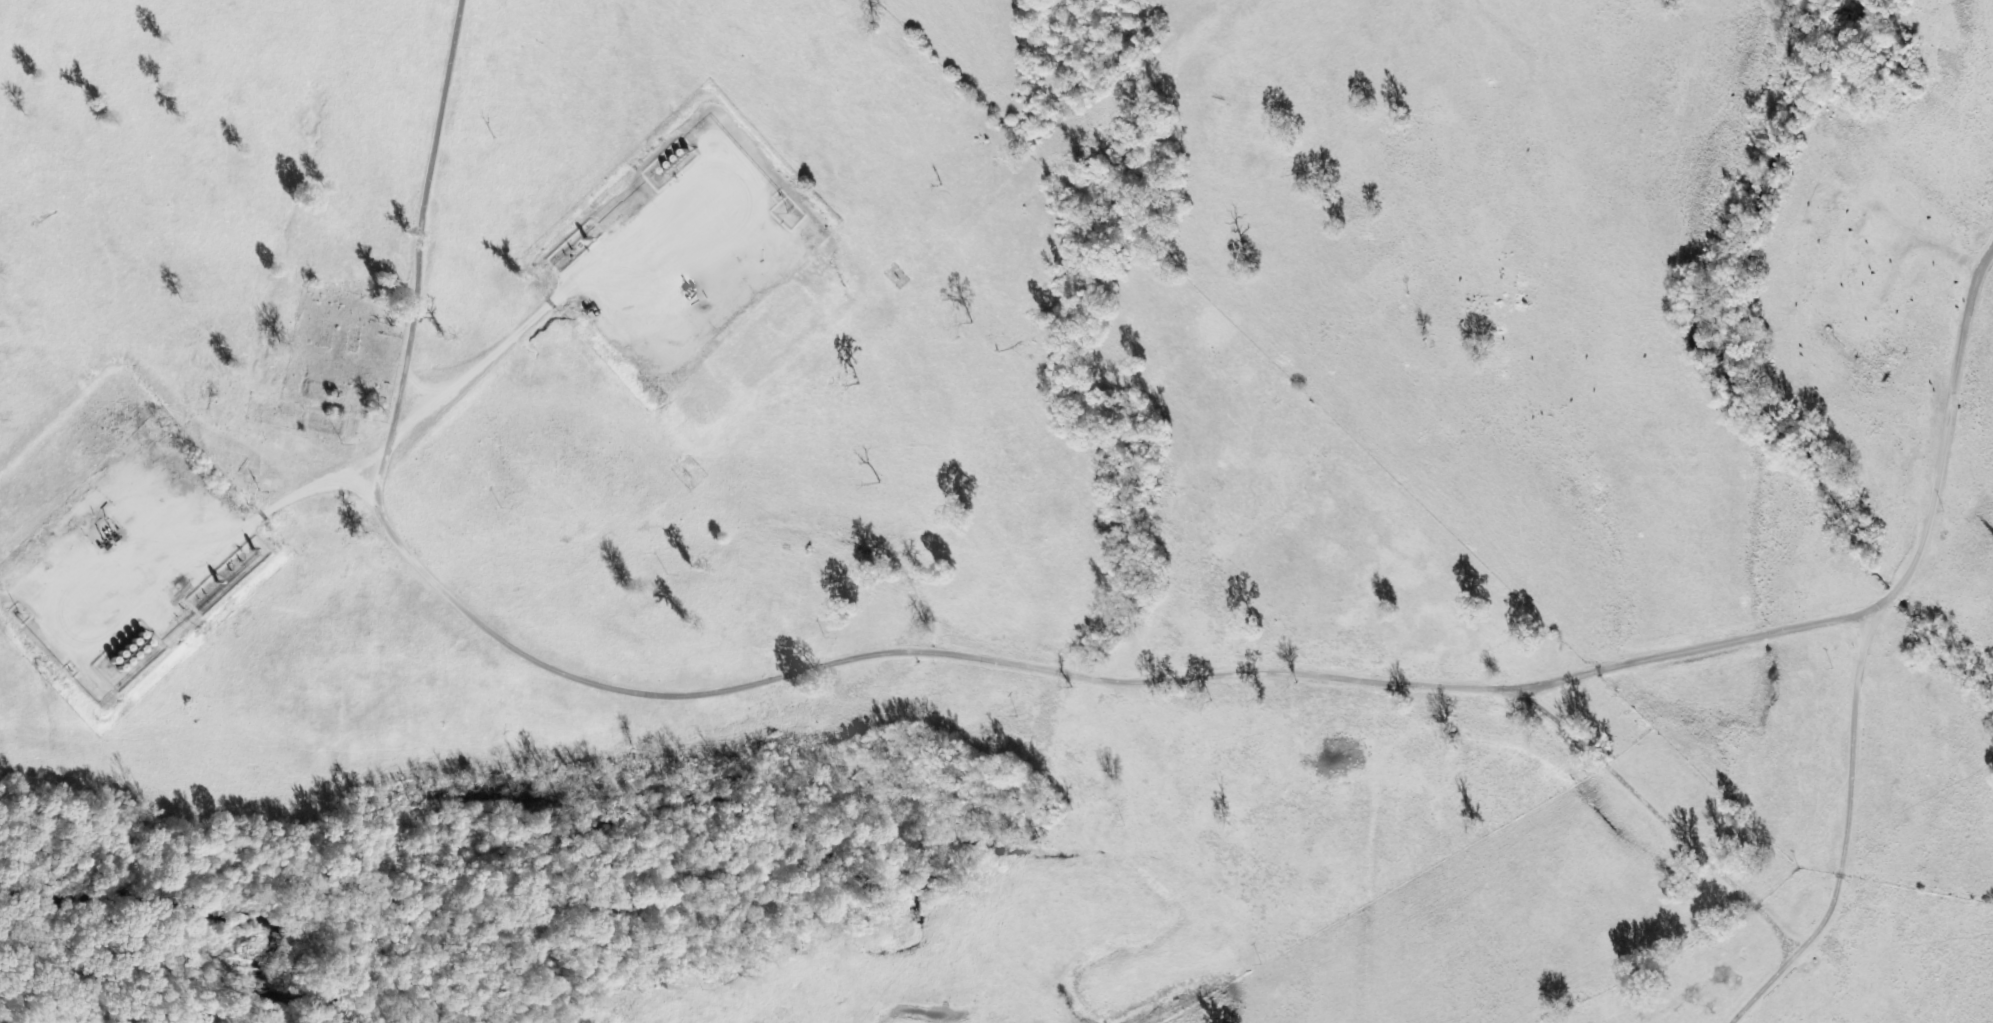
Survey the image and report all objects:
petroleum well: (687, 288)
petroleum well: (103, 531)

